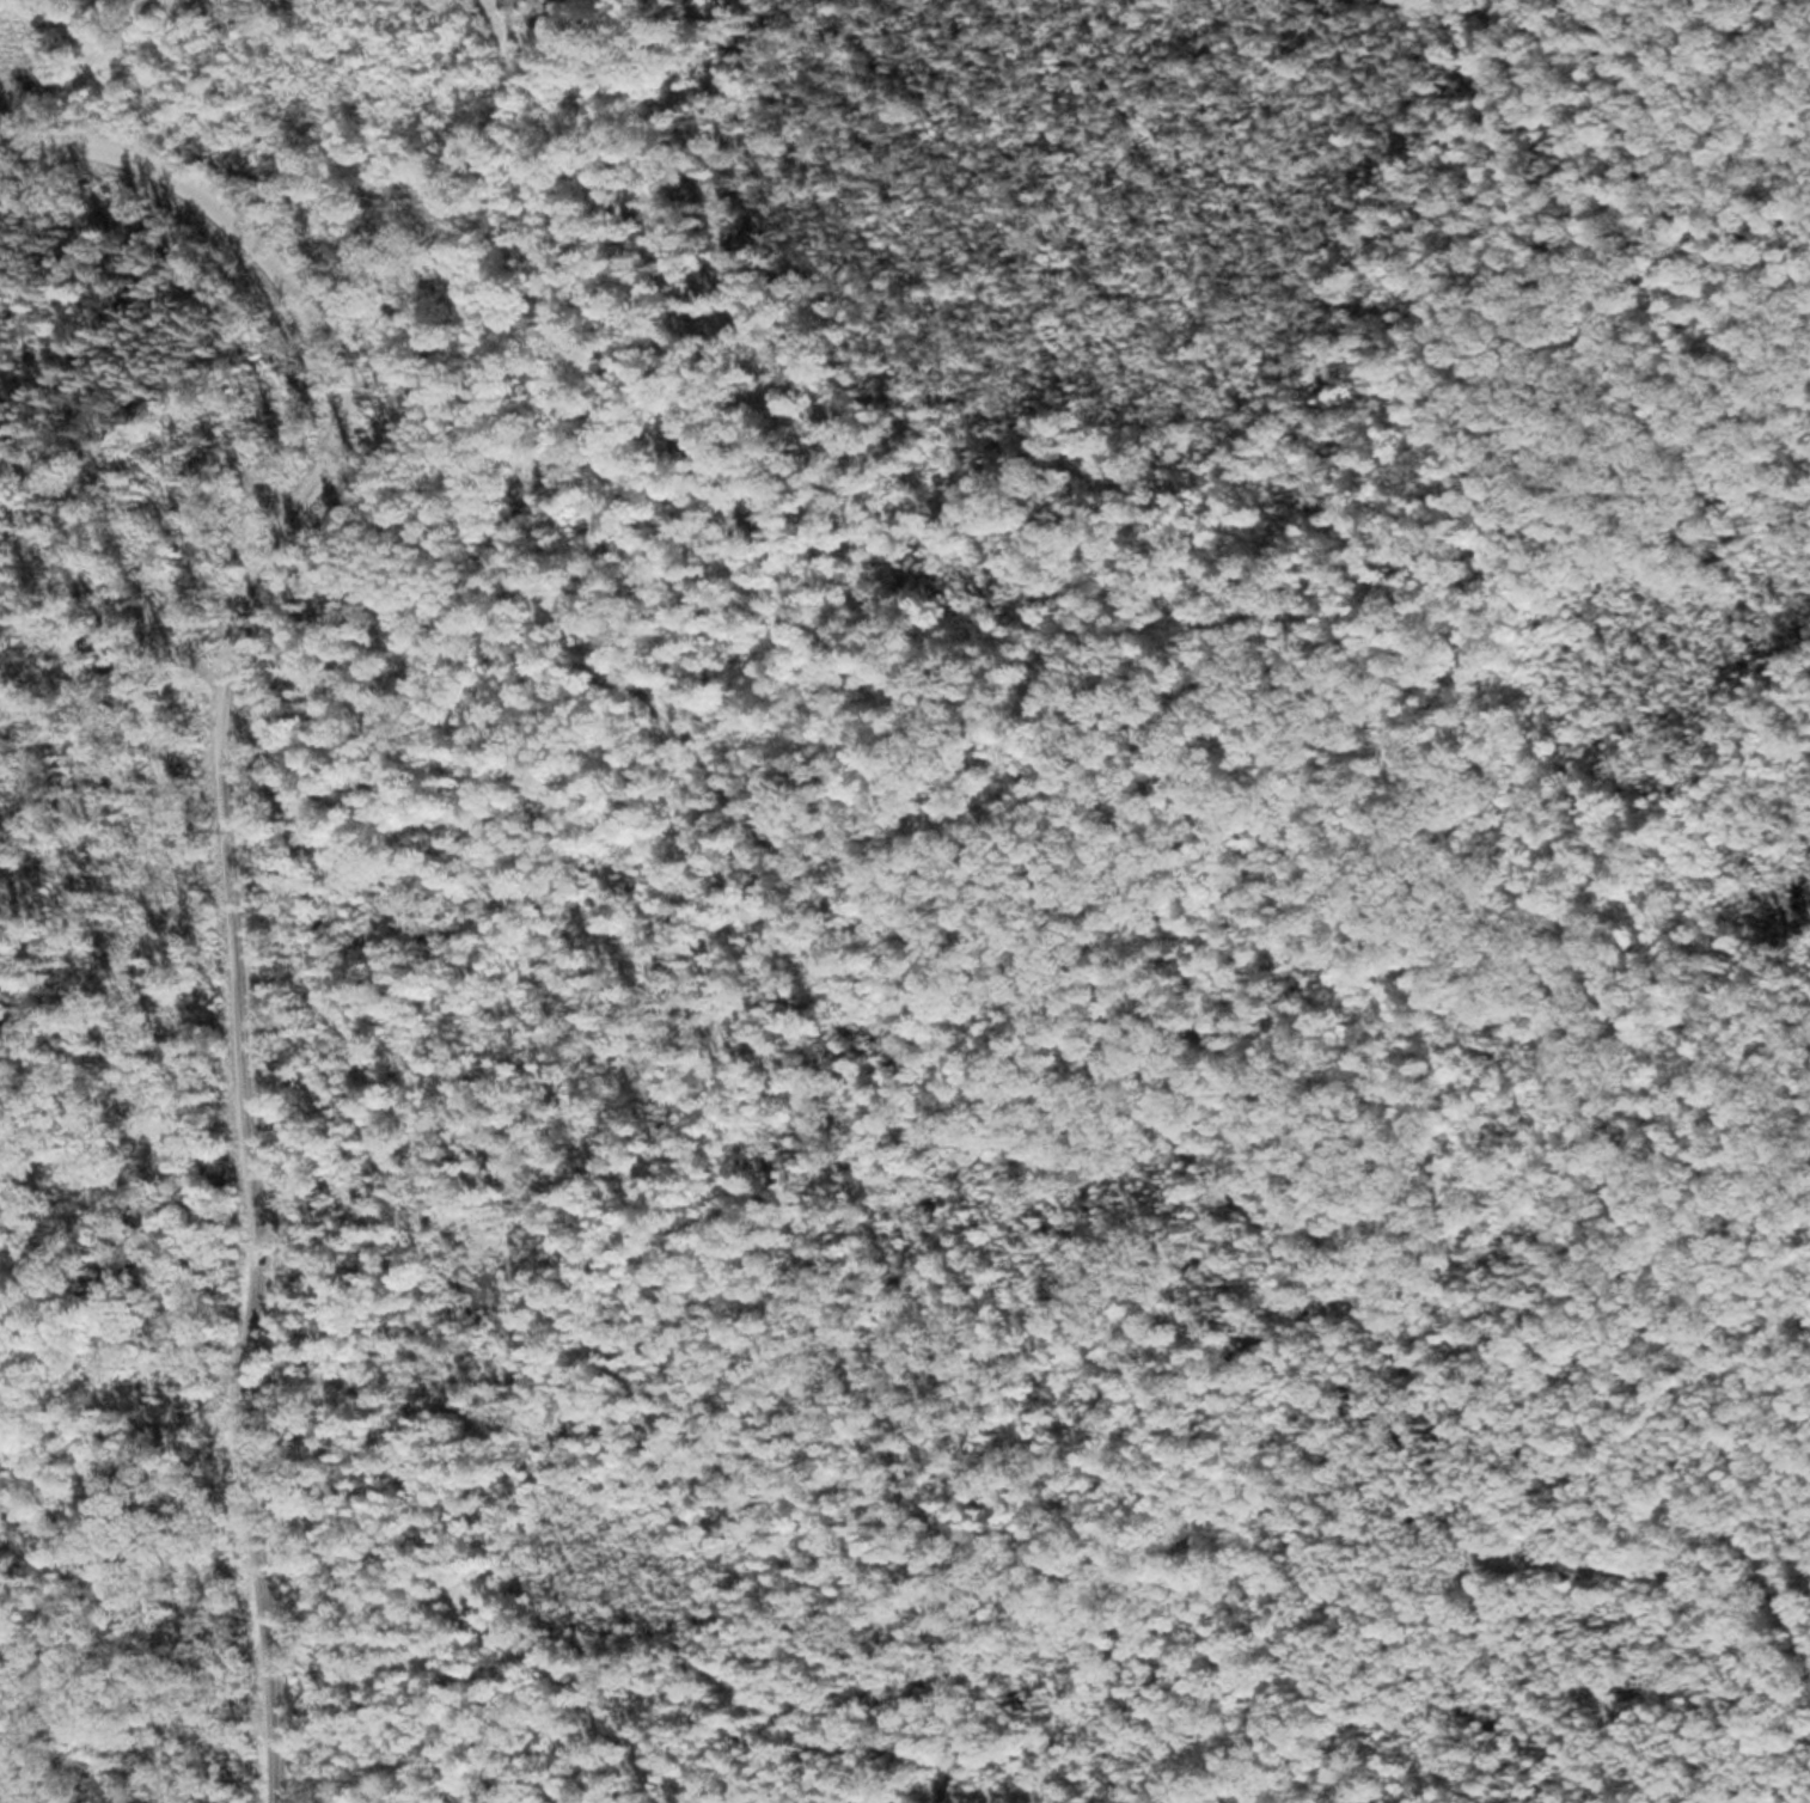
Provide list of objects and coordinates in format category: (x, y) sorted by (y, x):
road: (237, 845)

